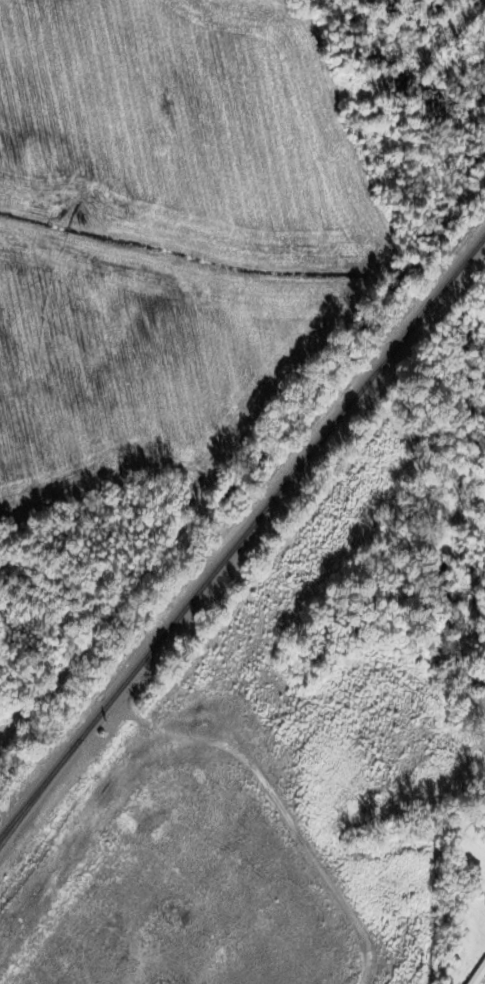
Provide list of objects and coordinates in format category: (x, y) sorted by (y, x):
railway: (241, 532)
railway: (43, 790)
road: (441, 908)
building: (476, 972)

